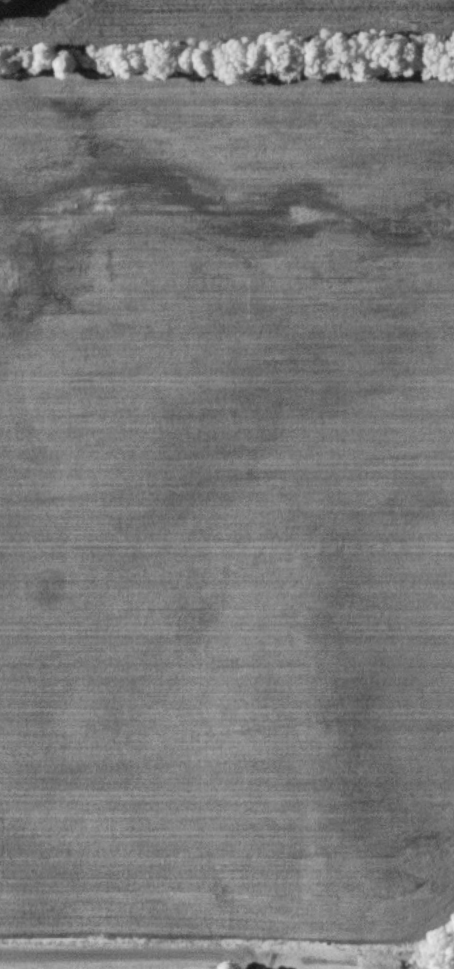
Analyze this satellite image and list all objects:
road: (118, 954)

